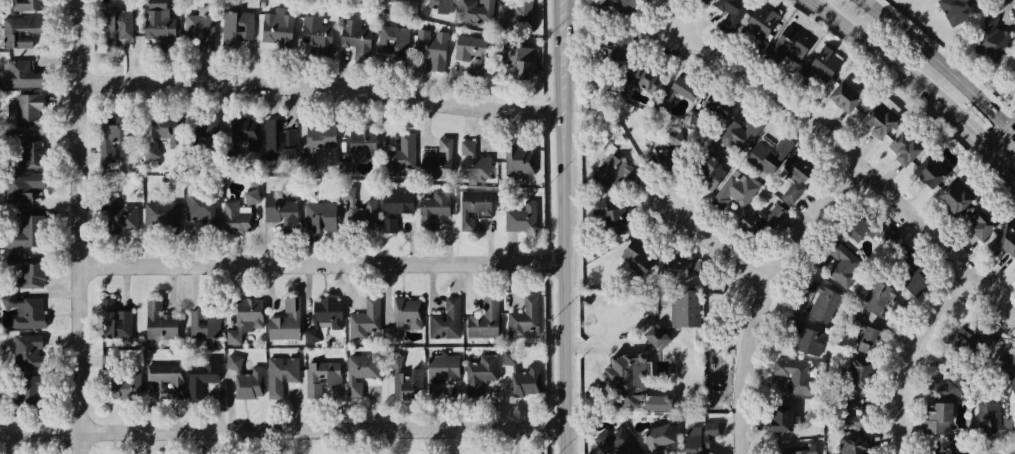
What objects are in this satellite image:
building: (343, 0)
building: (407, 0)
building: (705, 1)
building: (156, 3)
building: (24, 4)
building: (441, 5)
building: (623, 6)
building: (953, 6)
building: (476, 10)
building: (514, 13)
building: (729, 14)
building: (18, 27)
building: (115, 27)
building: (160, 27)
building: (277, 27)
building: (236, 28)
building: (760, 28)
building: (200, 30)
building: (316, 34)
building: (987, 35)
building: (355, 37)
building: (394, 41)
building: (788, 45)
building: (431, 47)
building: (618, 47)
road: (870, 47)
building: (470, 52)
building: (518, 57)
road: (940, 64)
building: (820, 66)
building: (21, 74)
building: (645, 79)
building: (685, 85)
building: (619, 88)
road: (326, 89)
building: (844, 96)
building: (661, 105)
building: (716, 106)
building: (24, 110)
building: (695, 116)
building: (880, 118)
building: (192, 130)
building: (739, 133)
road: (974, 133)
building: (242, 134)
building: (159, 135)
building: (111, 139)
building: (277, 141)
building: (317, 141)
building: (906, 145)
road: (1007, 146)
building: (357, 148)
building: (668, 151)
building: (399, 155)
building: (24, 156)
building: (767, 156)
traffic signals: (999, 156)
road: (857, 158)
building: (437, 160)
building: (519, 160)
building: (474, 162)
building: (706, 167)
building: (931, 170)
building: (618, 173)
building: (797, 174)
building: (22, 188)
building: (734, 192)
building: (955, 195)
building: (251, 197)
building: (396, 202)
building: (473, 207)
building: (202, 208)
building: (359, 208)
building: (432, 209)
building: (281, 213)
building: (776, 213)
building: (117, 214)
building: (161, 215)
building: (319, 216)
building: (521, 217)
building: (612, 217)
building: (236, 218)
building: (749, 222)
building: (979, 223)
building: (389, 224)
road: (86, 226)
road: (570, 227)
building: (869, 230)
building: (18, 234)
building: (999, 242)
road: (725, 247)
building: (638, 253)
road: (329, 263)
building: (673, 264)
building: (843, 265)
building: (912, 269)
building: (1013, 270)
building: (29, 273)
road: (770, 295)
building: (822, 297)
building: (881, 297)
building: (682, 308)
building: (29, 311)
building: (328, 311)
building: (245, 317)
building: (486, 317)
building: (404, 319)
building: (446, 319)
building: (112, 320)
building: (365, 320)
building: (158, 321)
building: (286, 321)
building: (525, 321)
building: (204, 324)
park: (723, 331)
building: (863, 331)
building: (310, 333)
building: (656, 336)
building: (805, 338)
building: (971, 338)
building: (27, 350)
road: (915, 353)
building: (824, 358)
building: (109, 361)
building: (1002, 367)
building: (360, 372)
building: (440, 372)
building: (478, 372)
building: (857, 372)
building: (280, 374)
building: (415, 375)
building: (201, 376)
building: (521, 376)
building: (794, 376)
building: (322, 377)
building: (624, 377)
building: (245, 378)
building: (166, 379)
building: (125, 385)
building: (947, 385)
building: (26, 388)
building: (850, 414)
building: (989, 416)
building: (780, 418)
building: (938, 418)
road: (282, 428)
building: (656, 434)
building: (699, 441)
building: (616, 442)
building: (853, 445)
building: (942, 447)
building: (797, 449)
building: (1011, 450)
building: (970, 453)

